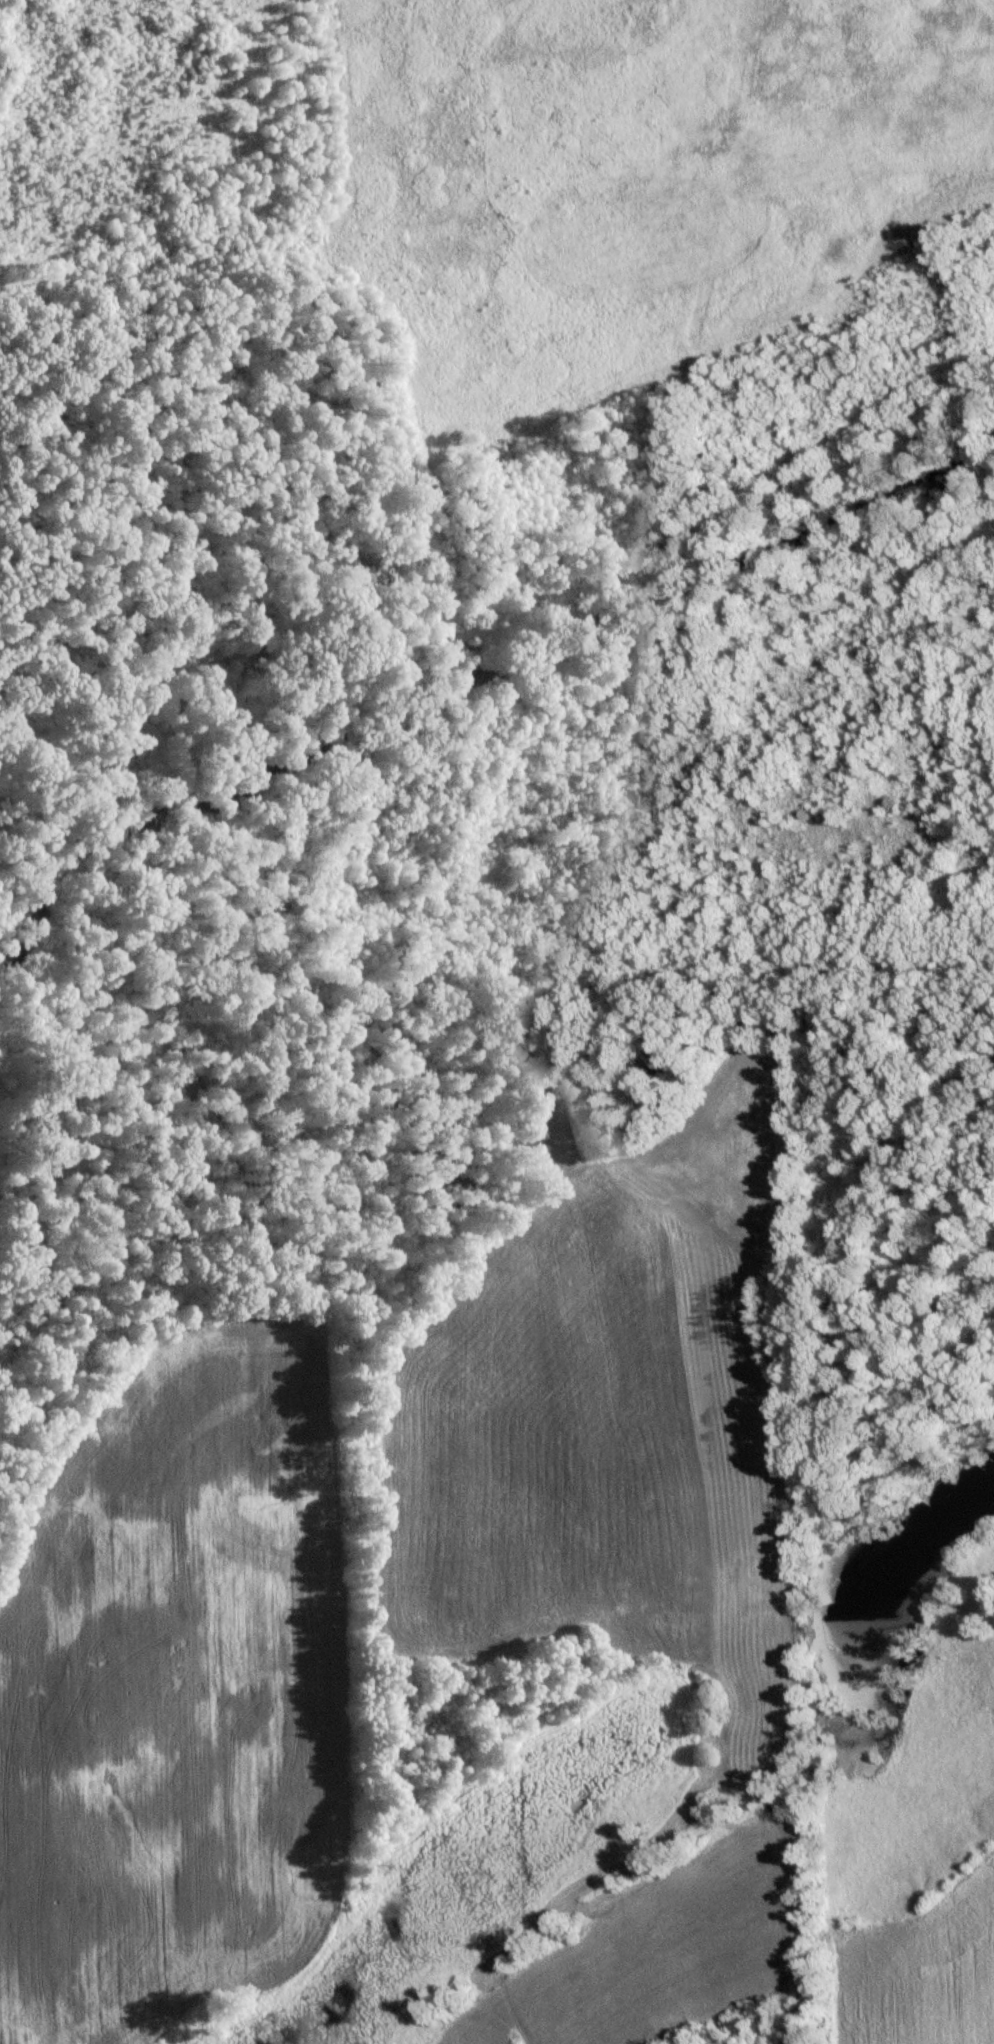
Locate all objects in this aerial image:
river: (469, 691)

